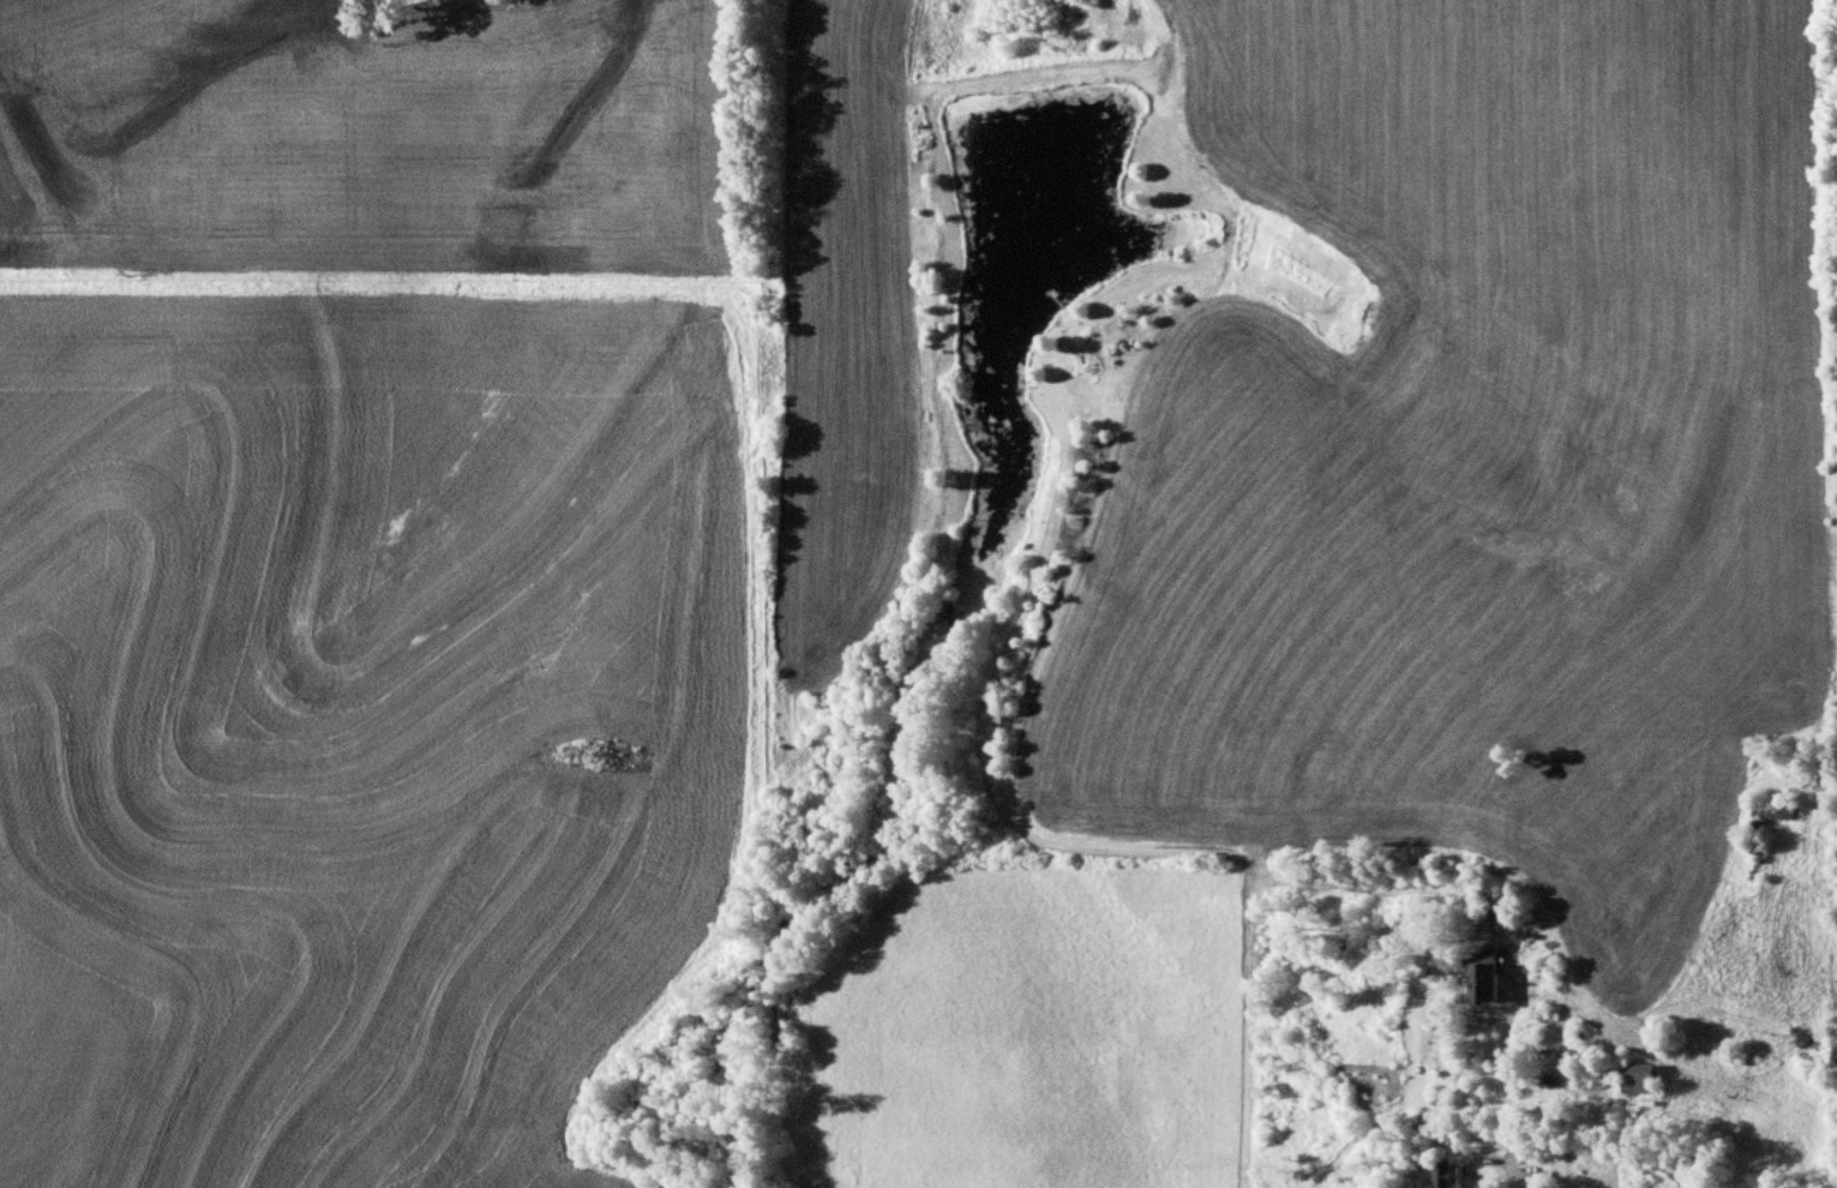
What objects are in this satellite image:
building: (1770, 806)
building: (1484, 972)
building: (1639, 1073)
road: (1559, 1138)
building: (1446, 1174)

